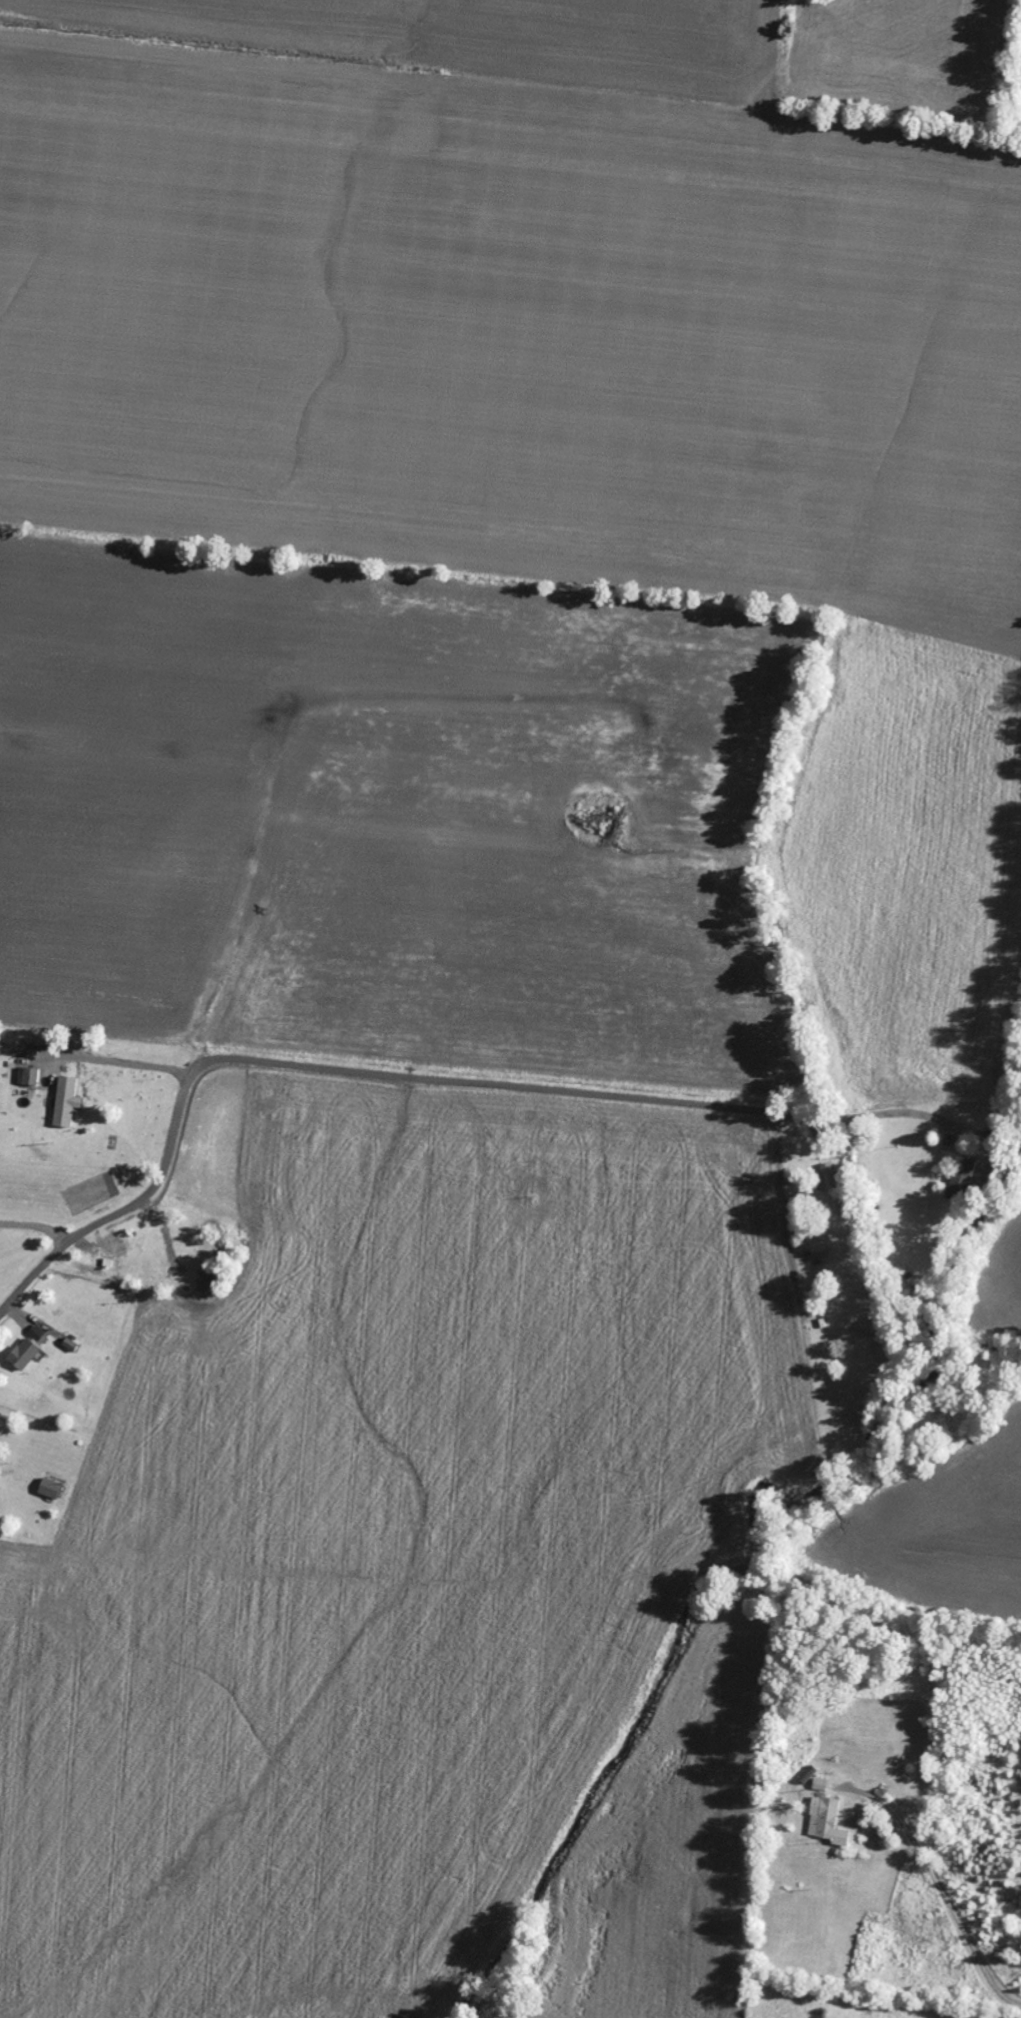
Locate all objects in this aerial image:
building: (30, 1077)
road: (530, 1090)
building: (68, 1102)
building: (964, 1183)
building: (835, 1189)
road: (667, 1197)
road: (129, 1211)
building: (26, 1354)
building: (51, 1489)
building: (829, 1822)

